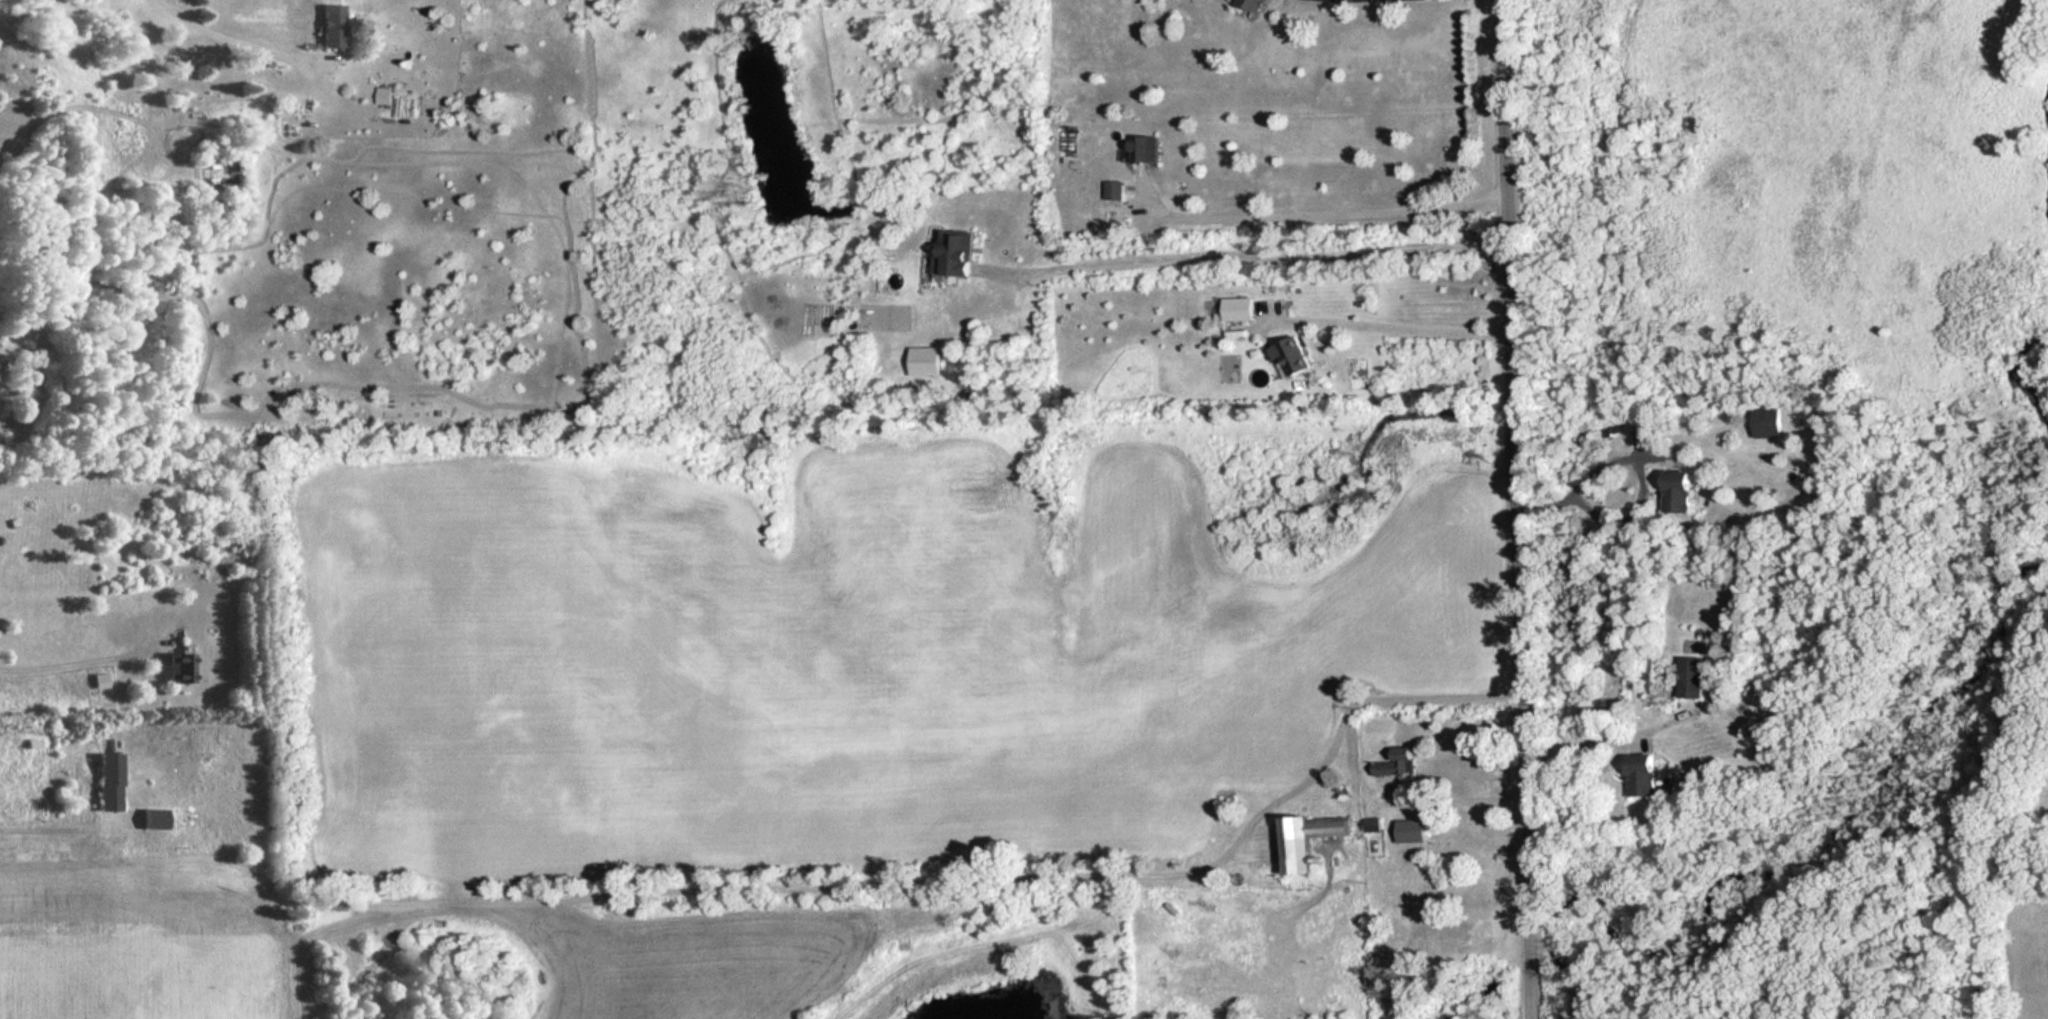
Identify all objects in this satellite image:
building: (1257, 3)
building: (333, 25)
building: (385, 95)
building: (1149, 148)
building: (1115, 189)
building: (958, 251)
road: (1248, 254)
building: (1239, 308)
building: (1298, 355)
building: (1770, 422)
building: (1681, 491)
road: (1519, 509)
building: (183, 667)
building: (1693, 677)
building: (1397, 766)
building: (1646, 775)
building: (112, 781)
building: (156, 818)
building: (1411, 831)
building: (1314, 839)

